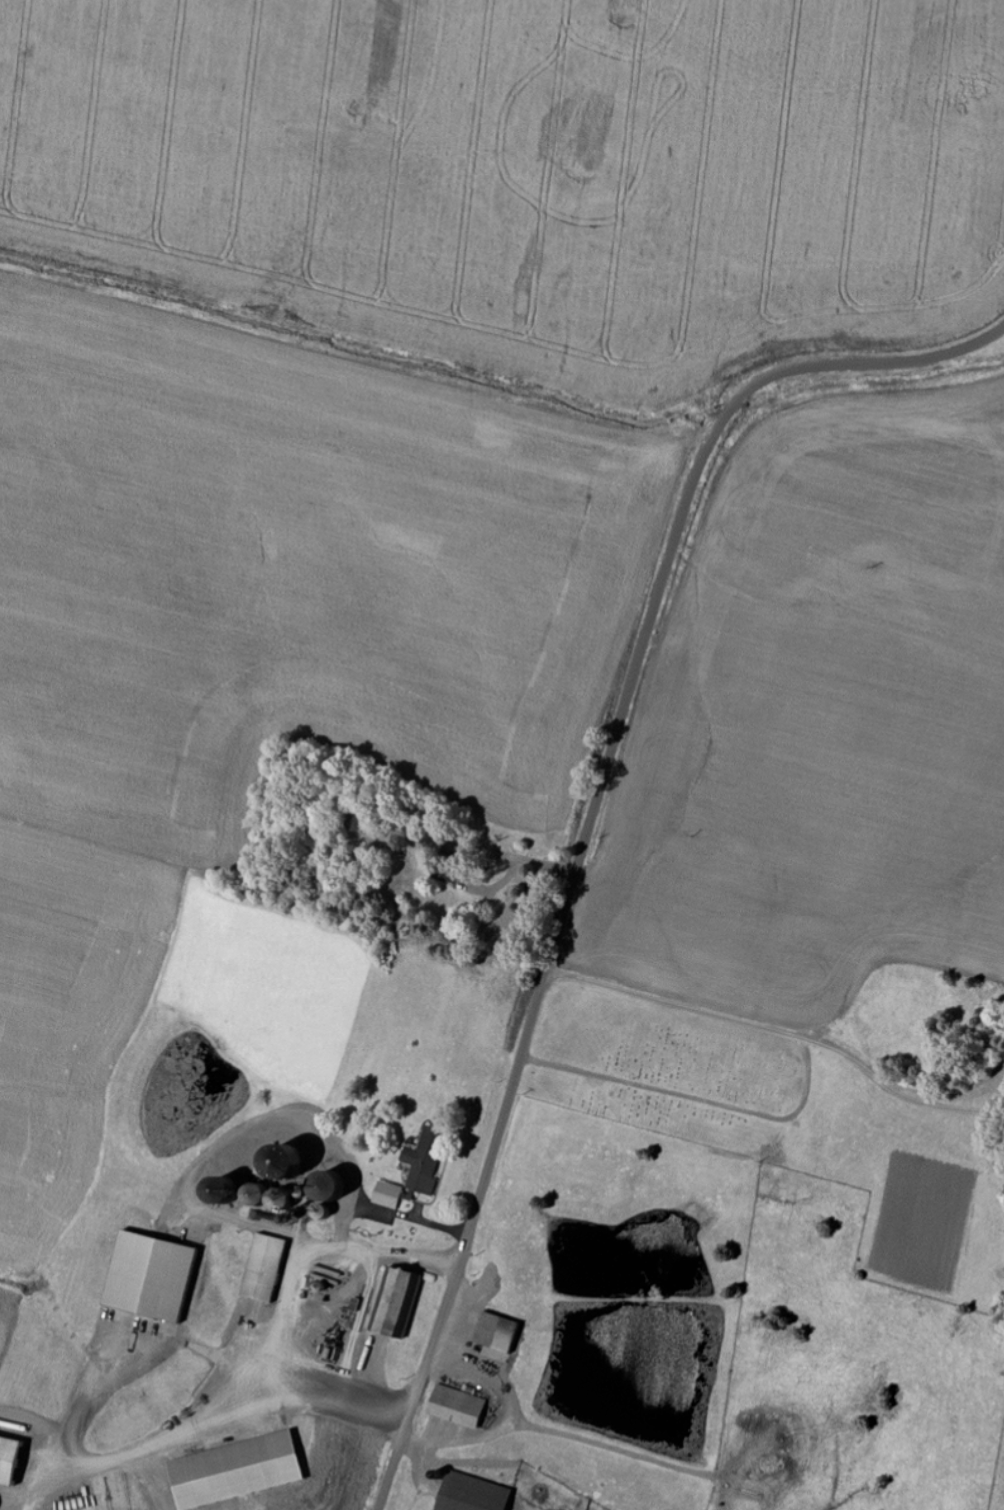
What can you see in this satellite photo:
road: (407, 216)
road: (591, 817)
park: (687, 1078)
building: (428, 1161)
building: (396, 1195)
building: (272, 1268)
building: (157, 1276)
building: (402, 1301)
building: (503, 1332)
building: (462, 1407)
road: (202, 1454)
building: (16, 1460)
building: (246, 1471)
building: (479, 1494)

